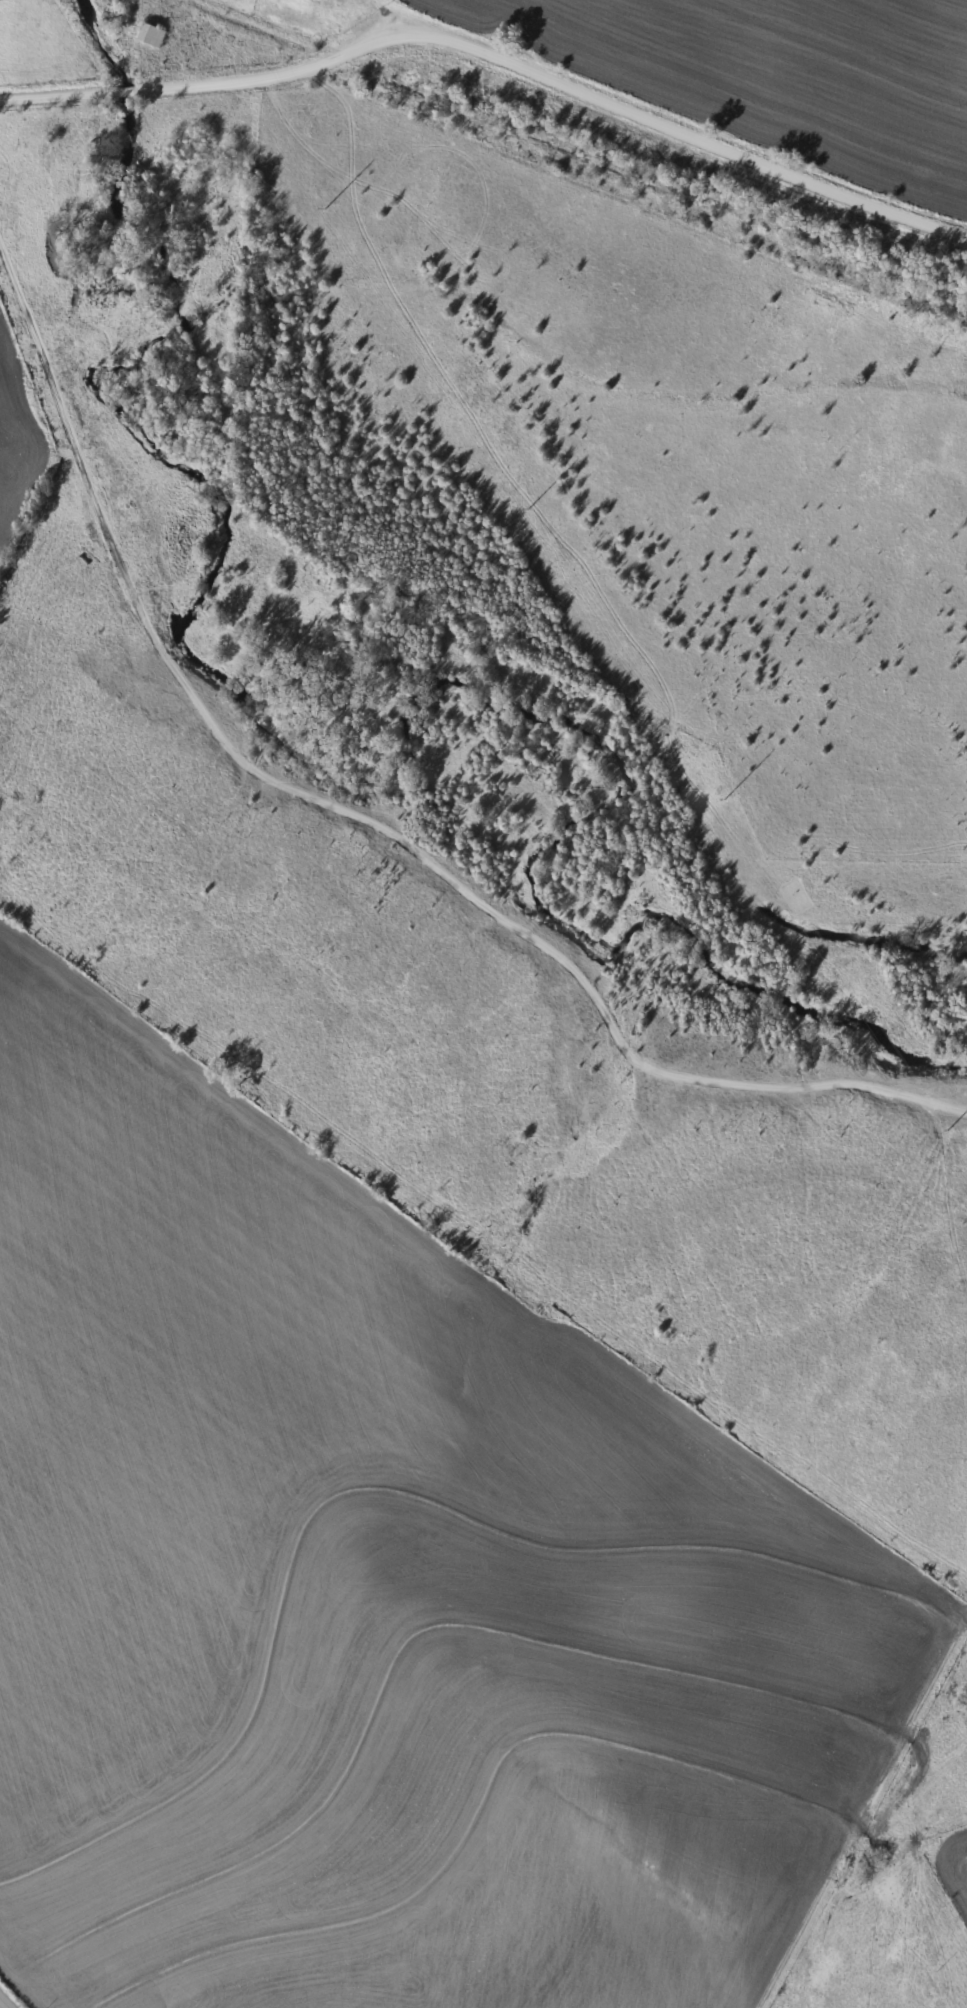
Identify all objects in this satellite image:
building: (148, 36)
road: (493, 59)
railway: (580, 151)
road: (379, 809)

